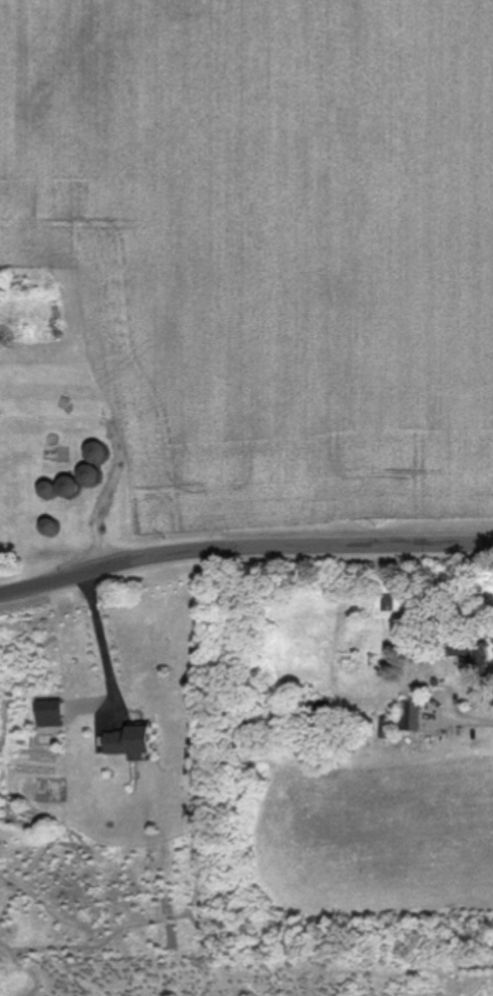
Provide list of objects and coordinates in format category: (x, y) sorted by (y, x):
crop: (265, 253)
road: (108, 505)
road: (243, 543)
road: (100, 641)
road: (467, 716)

